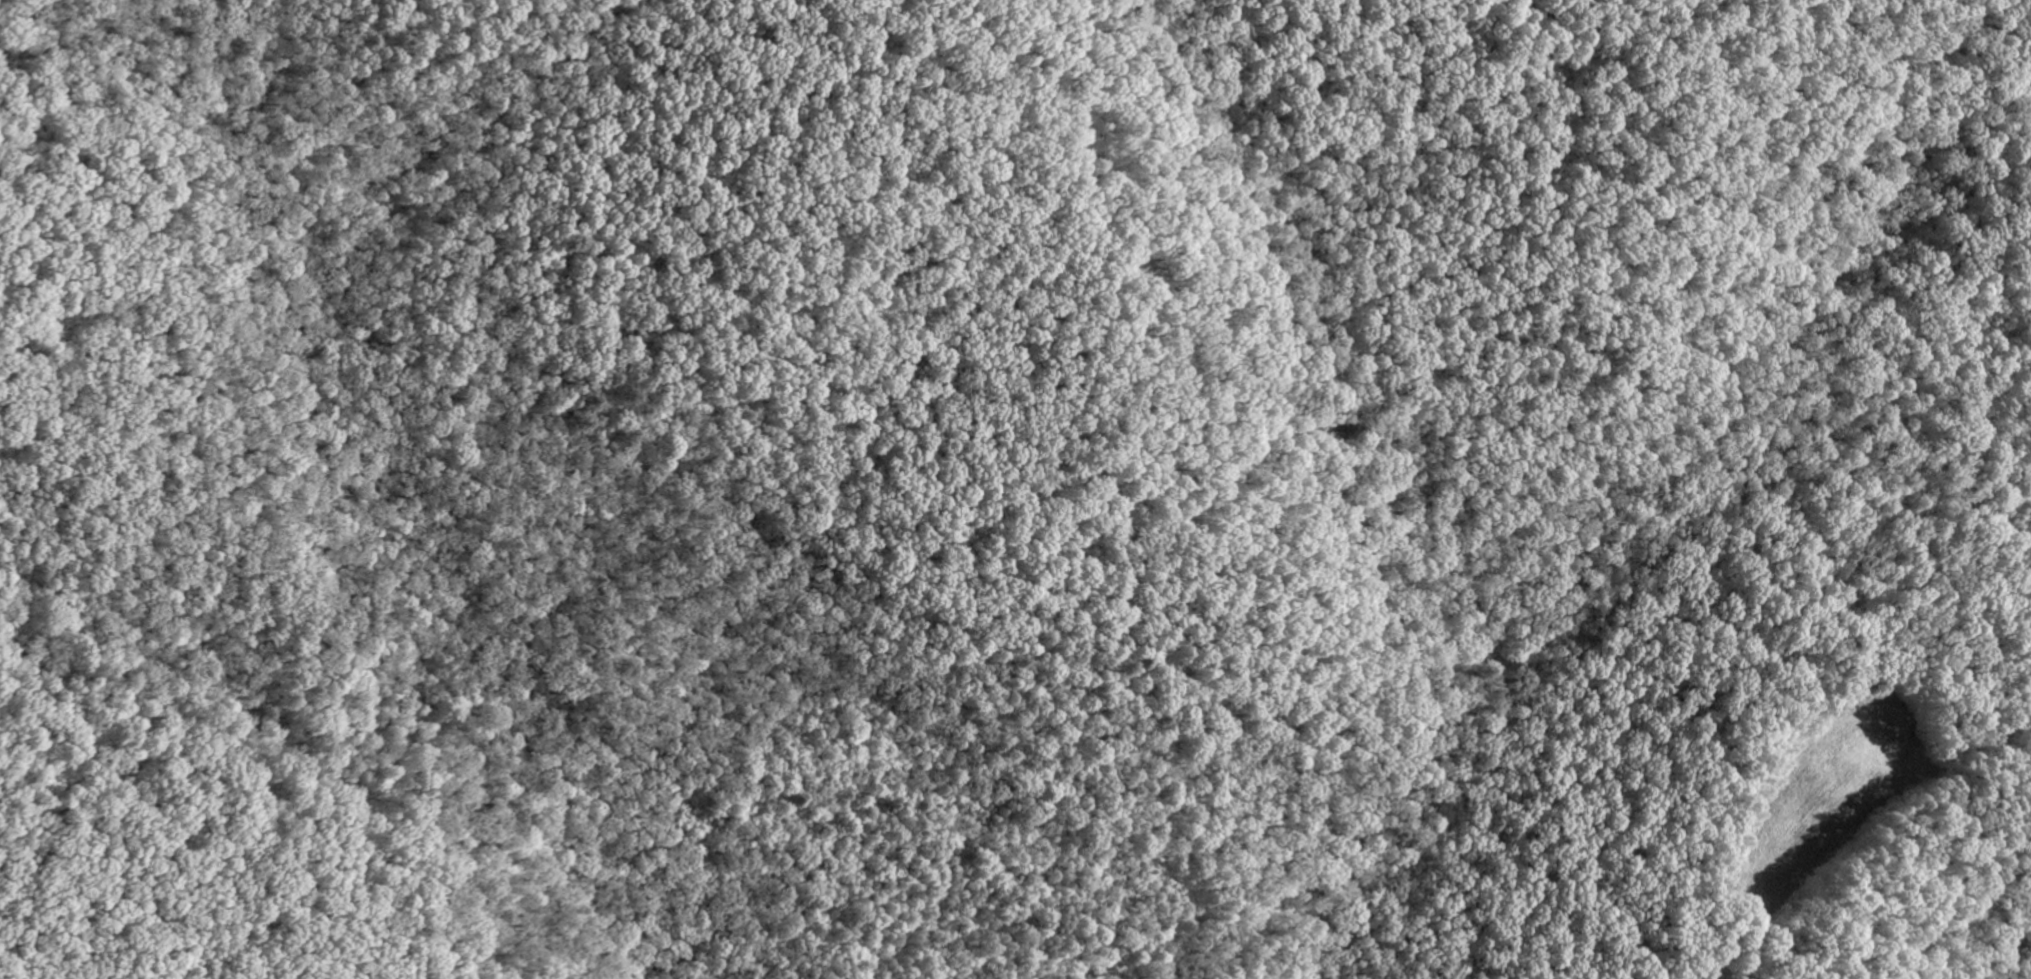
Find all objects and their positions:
road: (1647, 88)

